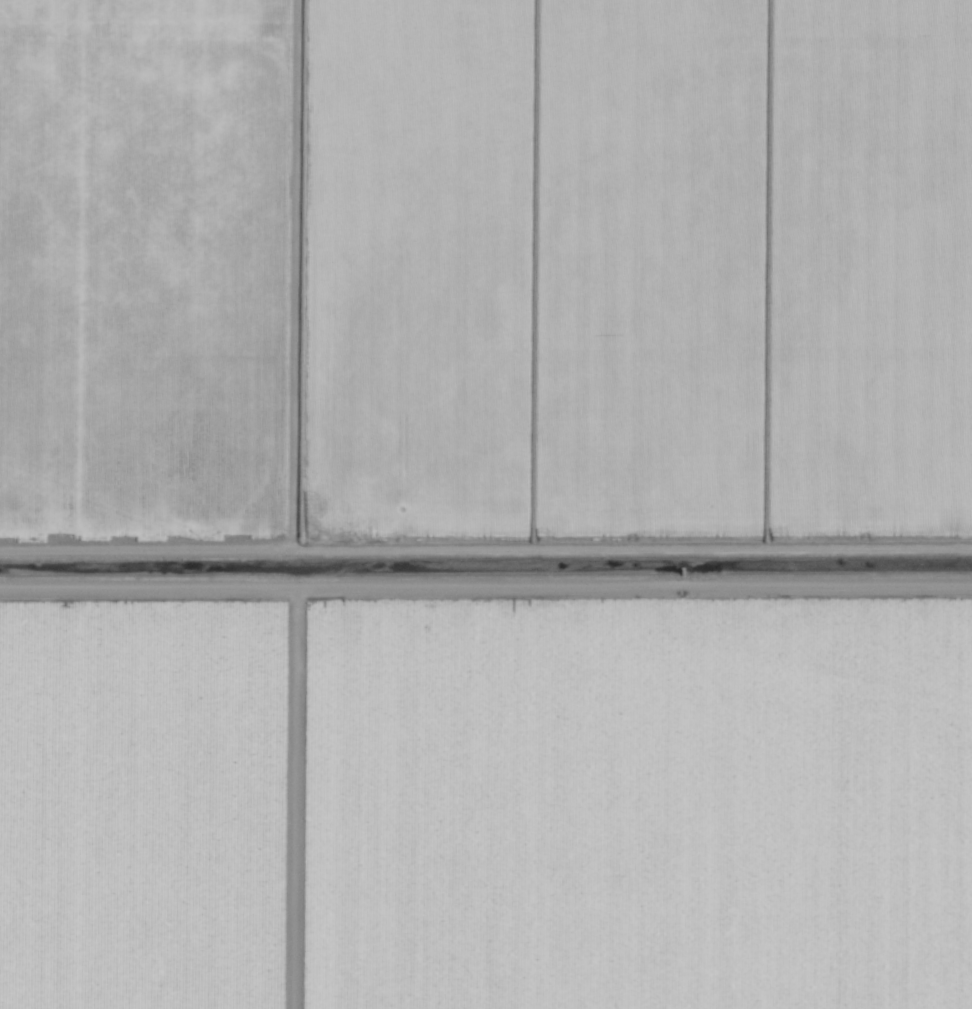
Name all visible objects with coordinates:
road: (485, 583)

